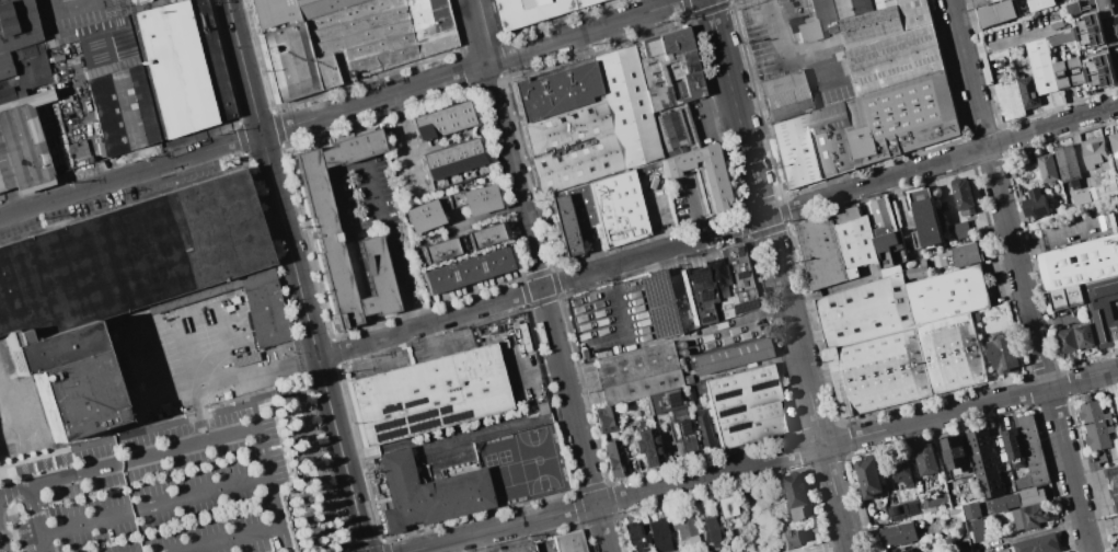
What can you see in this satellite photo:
building: (2, 0)
building: (579, 2)
building: (983, 2)
road: (50, 3)
road: (70, 4)
building: (13, 7)
building: (319, 7)
building: (1073, 8)
building: (1107, 8)
building: (1010, 10)
building: (527, 12)
building: (274, 13)
building: (16, 22)
building: (1060, 22)
road: (910, 25)
building: (1110, 30)
road: (868, 31)
building: (374, 36)
road: (826, 37)
building: (19, 38)
building: (1060, 38)
road: (1004, 41)
parking lot: (834, 46)
road: (785, 47)
building: (111, 51)
building: (22, 53)
building: (3, 58)
building: (56, 58)
building: (209, 59)
building: (288, 61)
road: (244, 67)
building: (1041, 67)
building: (172, 68)
road: (472, 68)
building: (5, 70)
building: (669, 70)
road: (848, 71)
building: (1069, 73)
building: (555, 91)
building: (1028, 93)
building: (30, 99)
building: (1010, 99)
road: (494, 102)
building: (136, 106)
building: (626, 106)
road: (736, 107)
building: (107, 114)
building: (463, 115)
building: (901, 118)
building: (449, 119)
building: (828, 119)
building: (435, 123)
building: (422, 127)
building: (566, 127)
building: (672, 130)
building: (1115, 145)
road: (320, 146)
building: (22, 147)
building: (77, 150)
building: (795, 152)
building: (833, 152)
building: (473, 157)
building: (460, 161)
building: (576, 163)
building: (447, 165)
building: (1099, 166)
road: (347, 168)
building: (1068, 168)
building: (1047, 169)
building: (433, 170)
building: (4, 173)
building: (710, 173)
road: (130, 174)
building: (0, 187)
building: (964, 196)
building: (474, 199)
building: (316, 202)
road: (337, 206)
building: (1036, 206)
building: (618, 209)
road: (691, 209)
building: (426, 214)
building: (583, 215)
building: (881, 217)
building: (925, 219)
building: (1108, 223)
building: (564, 226)
building: (959, 230)
road: (717, 231)
building: (480, 237)
road: (1051, 240)
building: (854, 241)
road: (388, 246)
building: (441, 249)
building: (890, 250)
building: (821, 253)
building: (959, 256)
building: (128, 257)
building: (499, 258)
building: (1079, 263)
building: (486, 264)
building: (473, 268)
building: (918, 271)
building: (459, 273)
building: (716, 273)
road: (1019, 275)
building: (445, 276)
building: (431, 281)
building: (216, 289)
road: (357, 291)
building: (947, 295)
building: (1067, 298)
road: (619, 302)
building: (658, 304)
building: (1102, 310)
building: (865, 311)
building: (266, 315)
parking lot: (609, 318)
building: (1085, 336)
building: (1068, 341)
road: (227, 343)
road: (314, 343)
building: (54, 348)
building: (1006, 352)
building: (952, 354)
building: (729, 357)
building: (110, 361)
building: (879, 371)
building: (637, 373)
road: (223, 378)
road: (564, 378)
road: (806, 383)
building: (689, 393)
building: (428, 394)
building: (78, 395)
building: (664, 401)
building: (1117, 402)
building: (746, 406)
building: (606, 419)
building: (1096, 425)
building: (701, 430)
building: (681, 432)
road: (458, 439)
building: (647, 447)
building: (1014, 448)
building: (1033, 449)
building: (957, 457)
building: (614, 458)
building: (926, 460)
road: (761, 461)
road: (127, 462)
building: (984, 463)
building: (901, 469)
building: (869, 478)
building: (1024, 482)
building: (1113, 483)
building: (428, 495)
building: (795, 495)
building: (1019, 499)
road: (152, 504)
building: (726, 506)
building: (926, 507)
building: (913, 509)
building: (894, 511)
building: (971, 511)
building: (1117, 514)
building: (956, 515)
building: (1036, 516)
road: (37, 520)
building: (1019, 520)
building: (684, 524)
road: (268, 525)
building: (710, 530)
building: (977, 530)
building: (659, 534)
building: (898, 534)
building: (641, 537)
building: (631, 538)
building: (791, 539)
building: (569, 542)
building: (1038, 544)
building: (964, 545)
building: (521, 549)
building: (742, 549)
building: (902, 550)
building: (1003, 550)
building: (1115, 550)
building: (691, 551)

